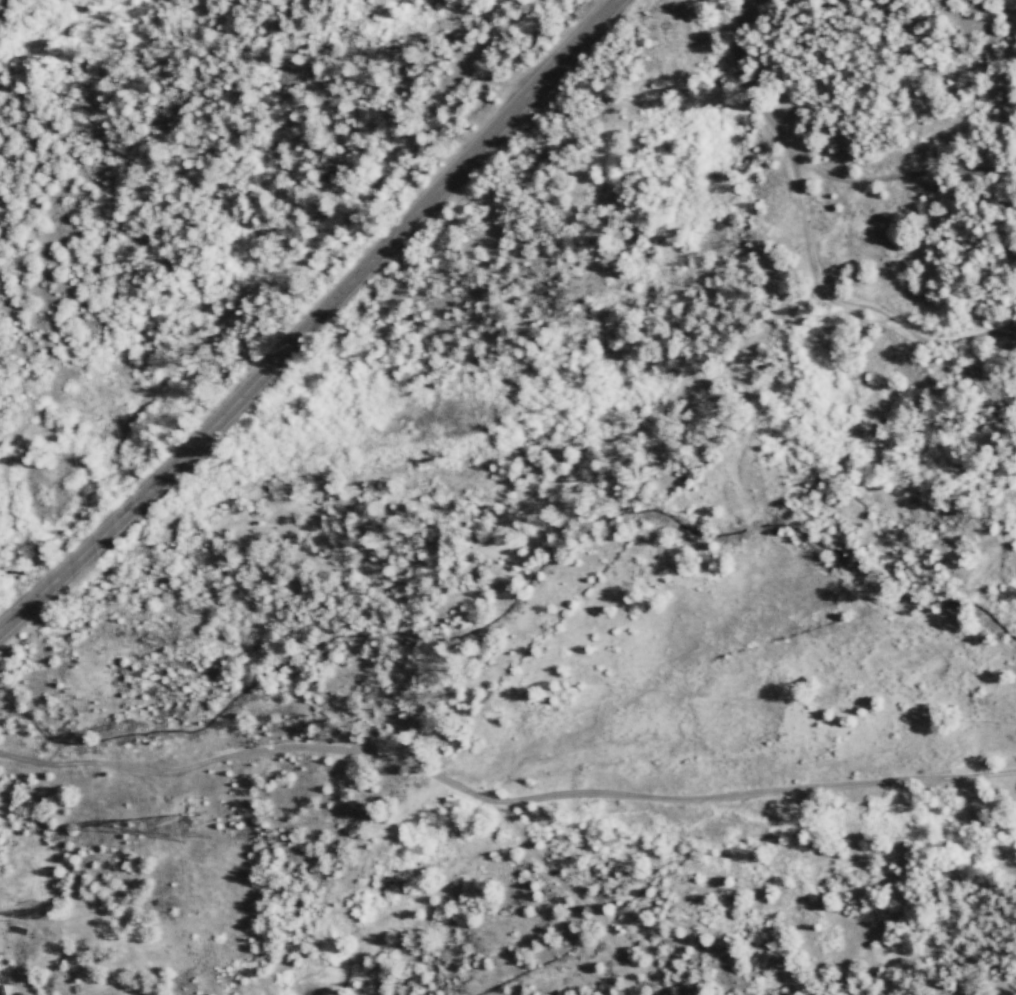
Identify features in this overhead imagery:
road: (312, 317)
power tower: (196, 821)

